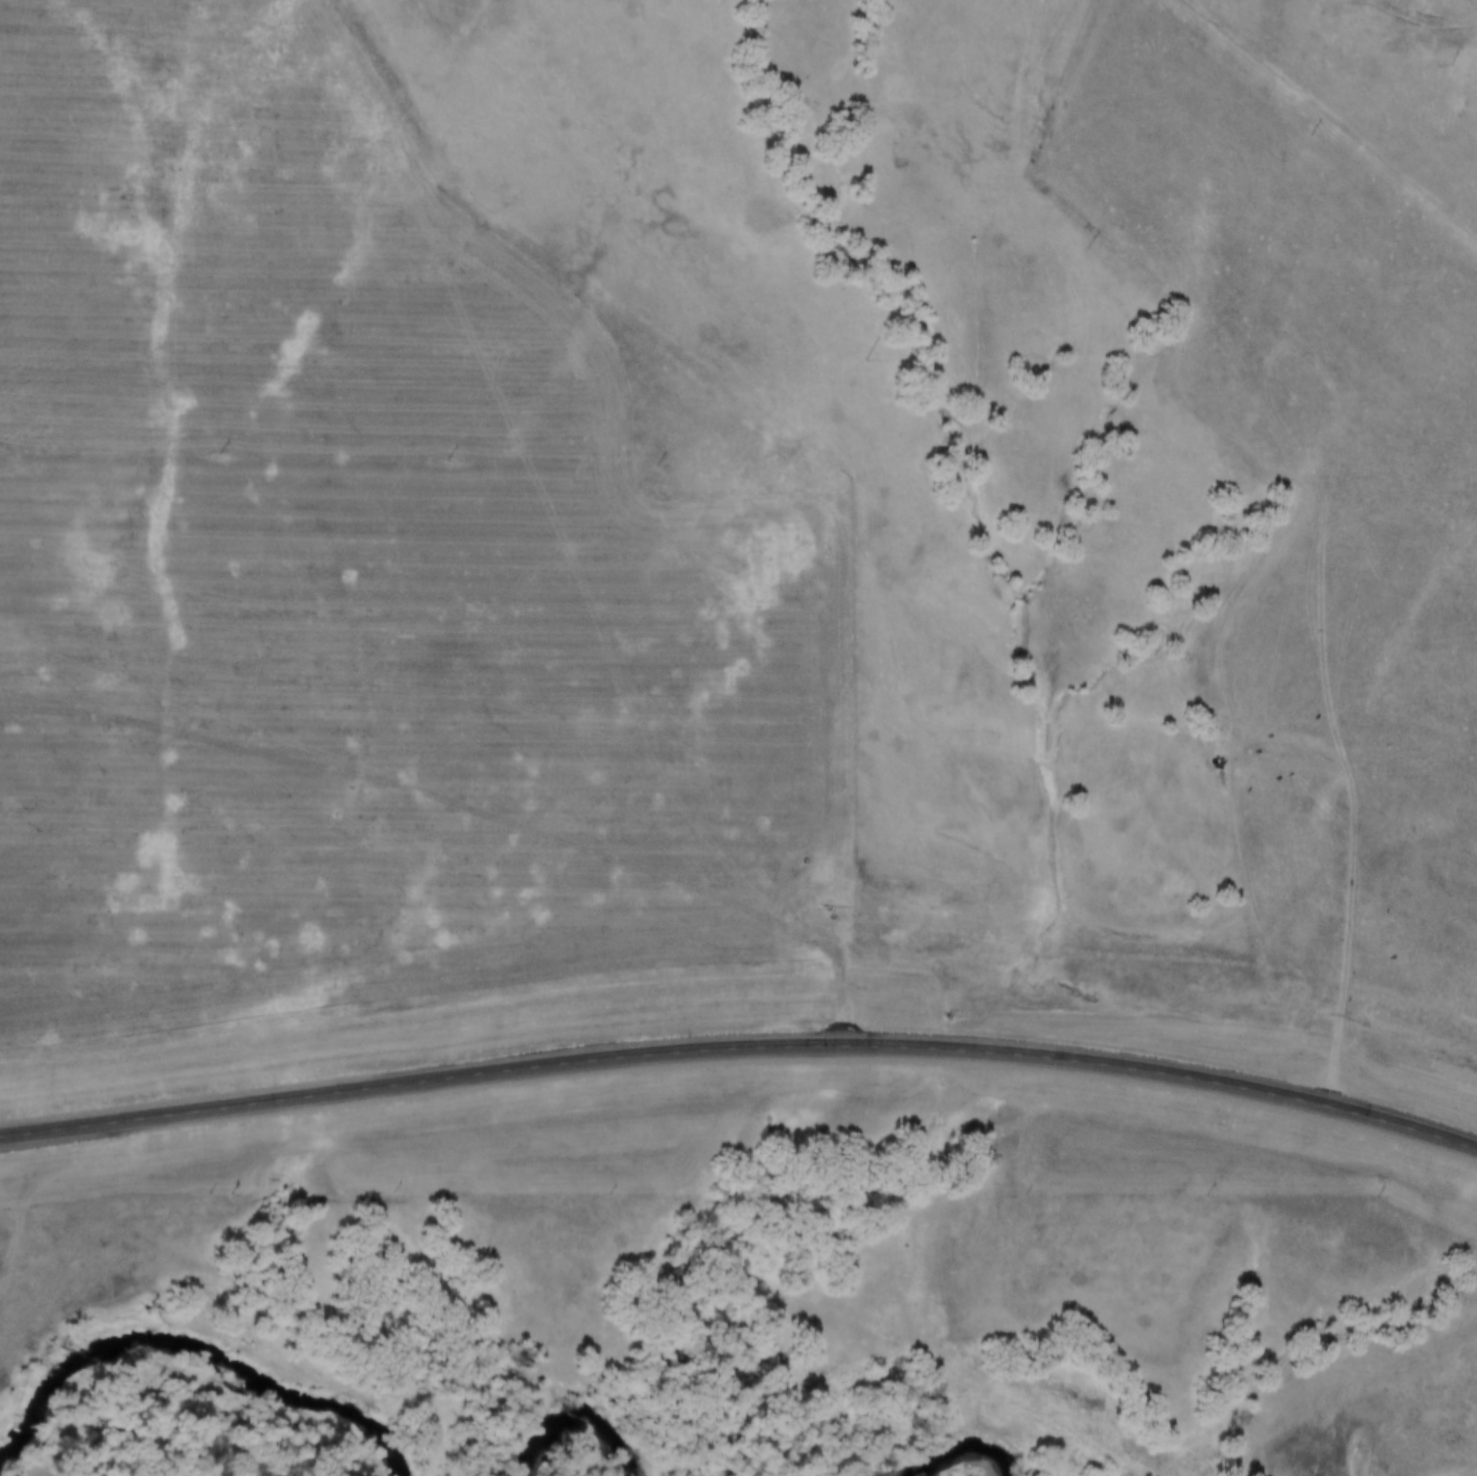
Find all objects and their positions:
road: (1397, 21)
road: (1187, 370)
road: (1353, 724)
road: (1272, 756)
road: (887, 763)
road: (741, 1051)
river: (201, 1340)
river: (580, 1418)
river: (965, 1441)

